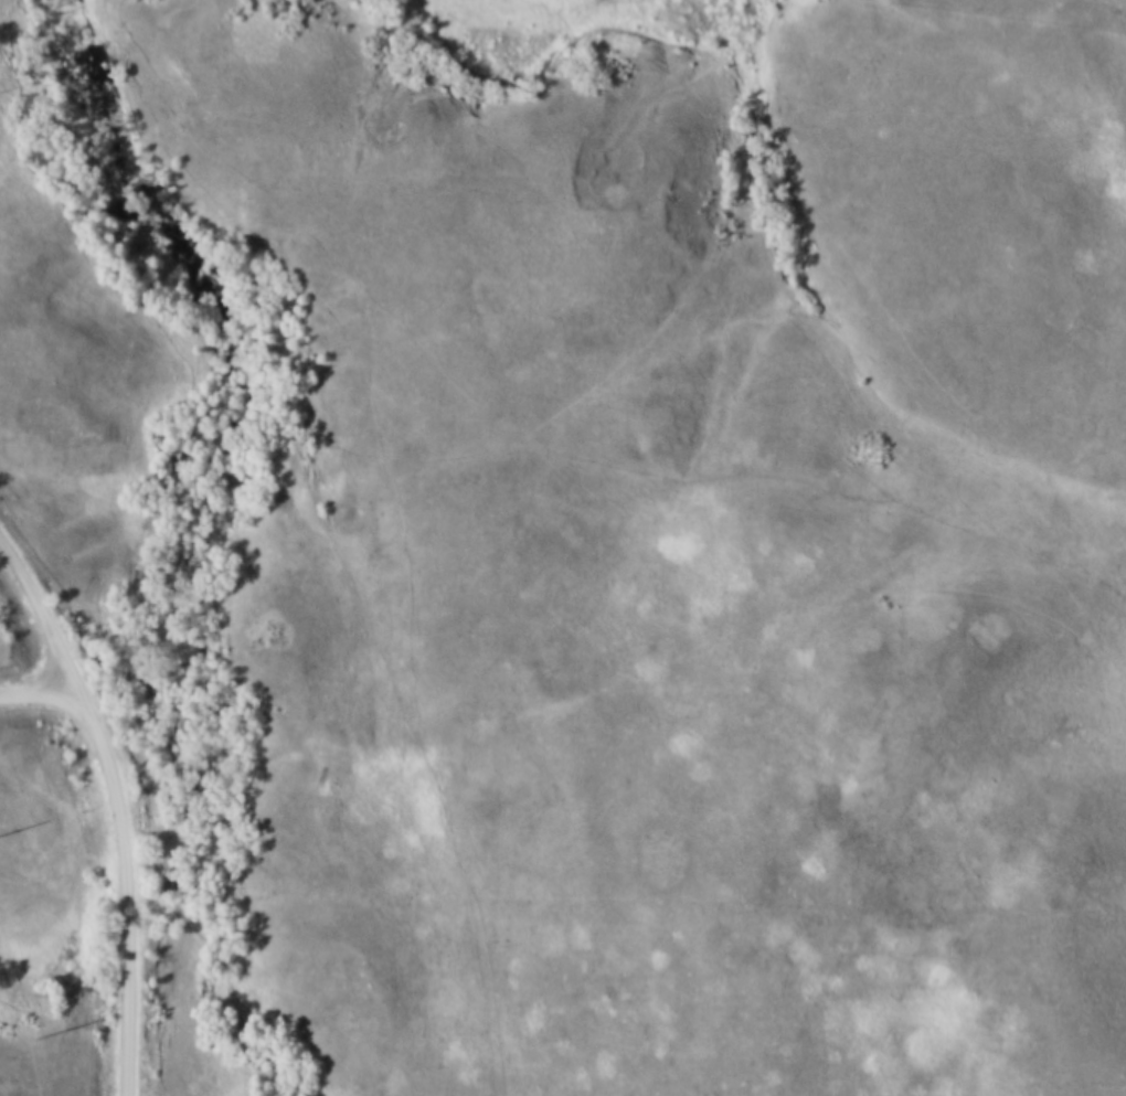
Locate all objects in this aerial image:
road: (45, 600)
road: (43, 693)
road: (131, 885)

